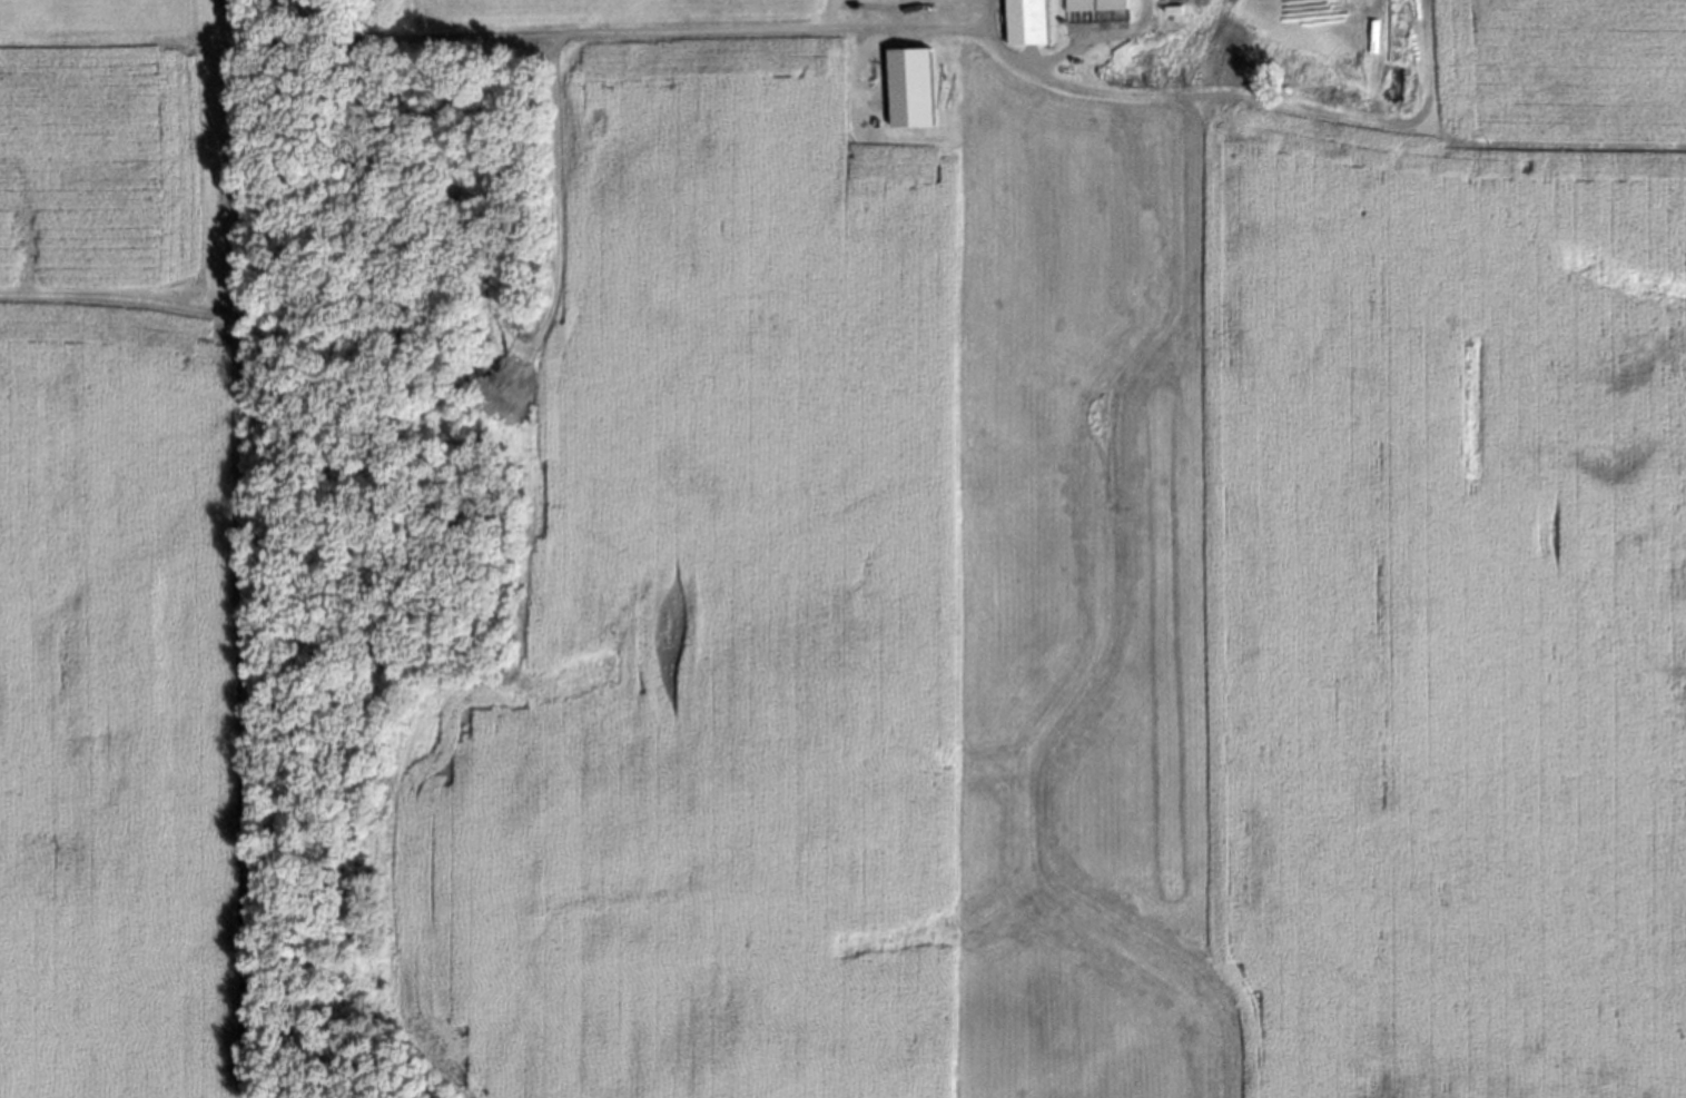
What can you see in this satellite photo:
building: (1091, 3)
building: (1021, 21)
road: (897, 26)
road: (1053, 55)
building: (905, 87)

